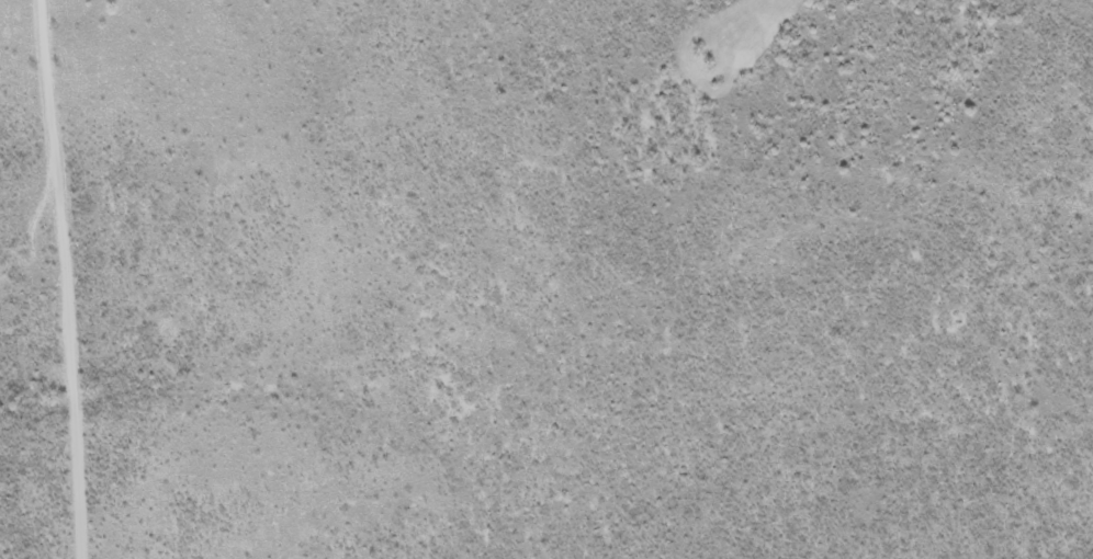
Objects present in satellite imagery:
road: (69, 279)

